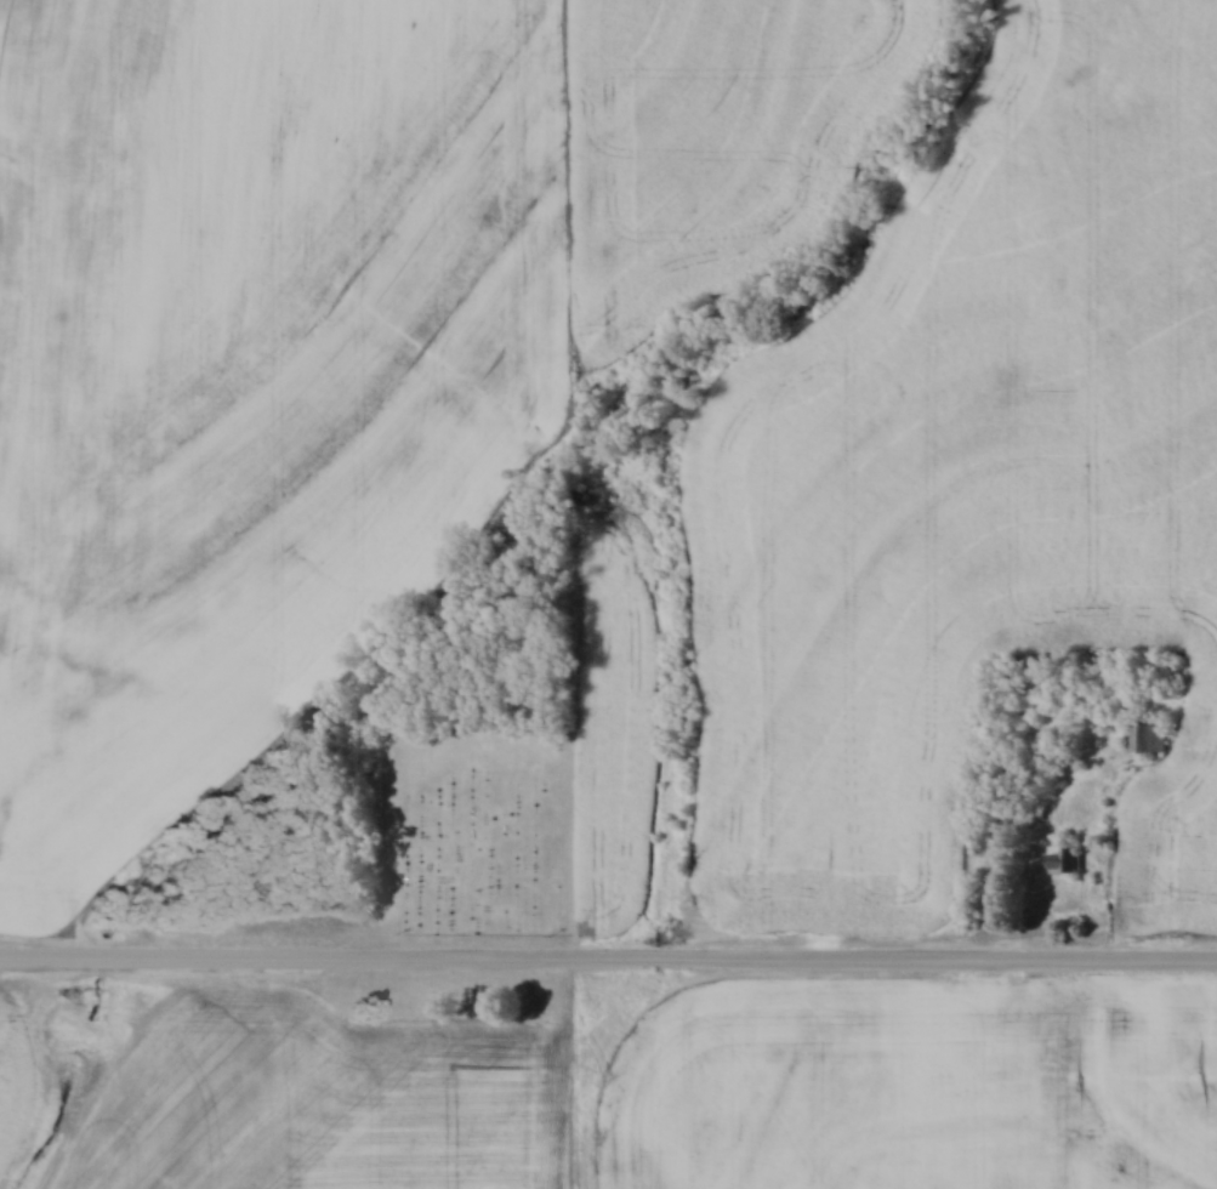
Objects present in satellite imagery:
building: (1143, 738)
building: (1062, 859)
road: (1124, 882)
road: (608, 957)

